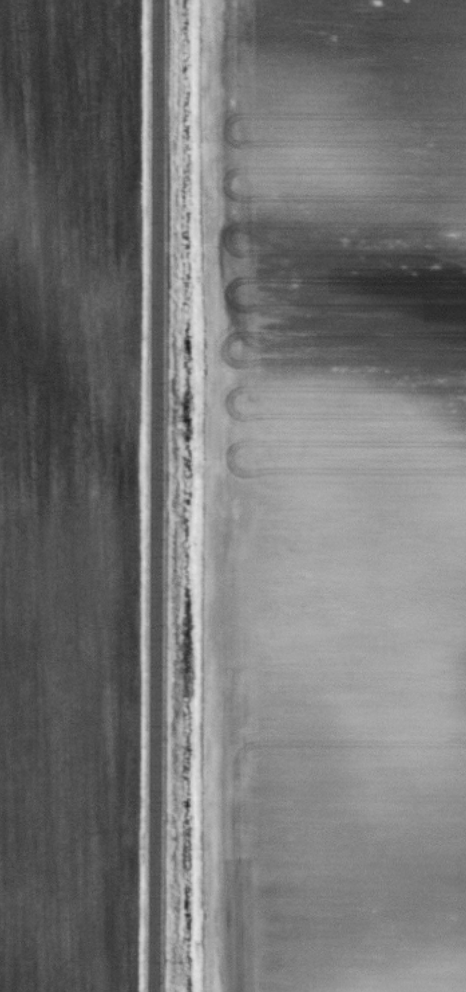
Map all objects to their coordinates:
road: (160, 496)

